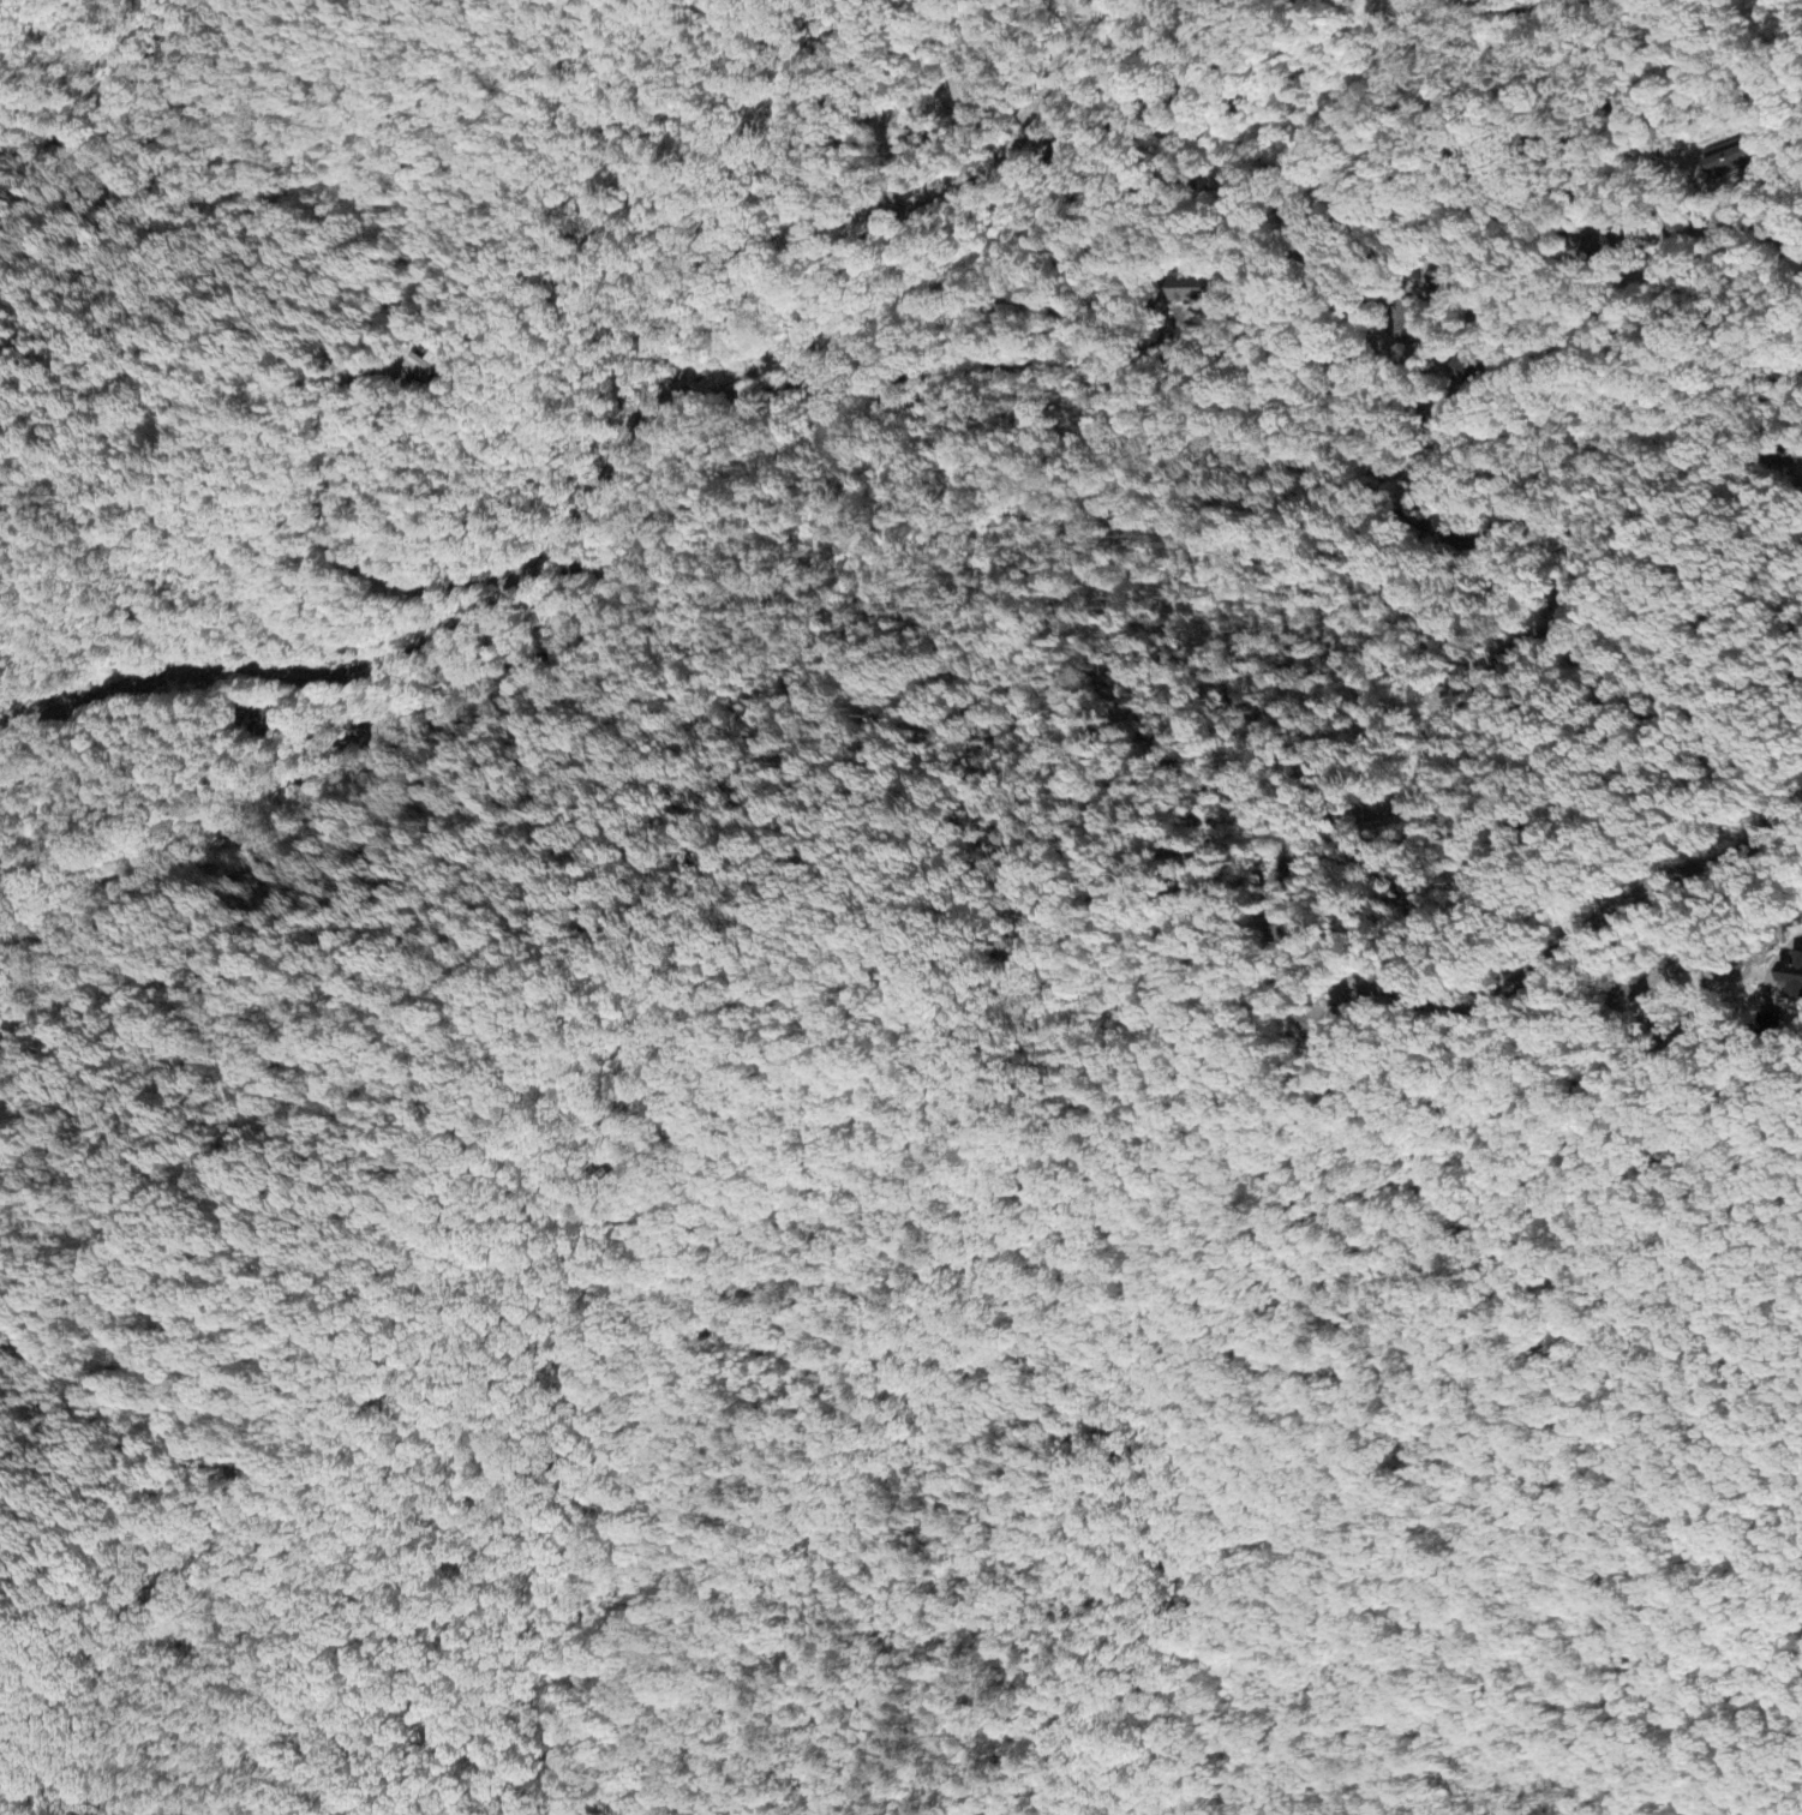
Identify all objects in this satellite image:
building: (962, 85)
building: (1728, 161)
building: (1443, 284)
building: (1186, 292)
building: (1403, 318)
building: (426, 369)
road: (1285, 401)
road: (612, 454)
building: (281, 724)
building: (1795, 981)

